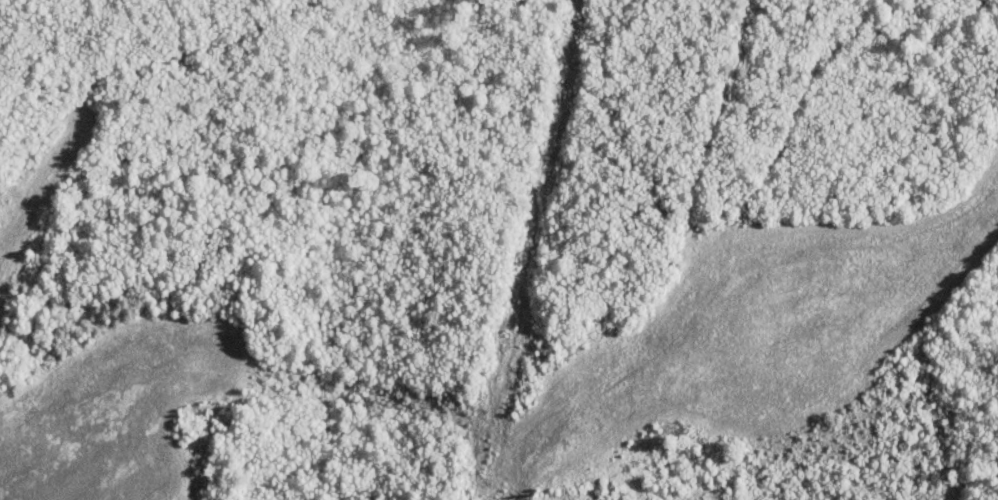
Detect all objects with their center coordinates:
road: (600, 370)

